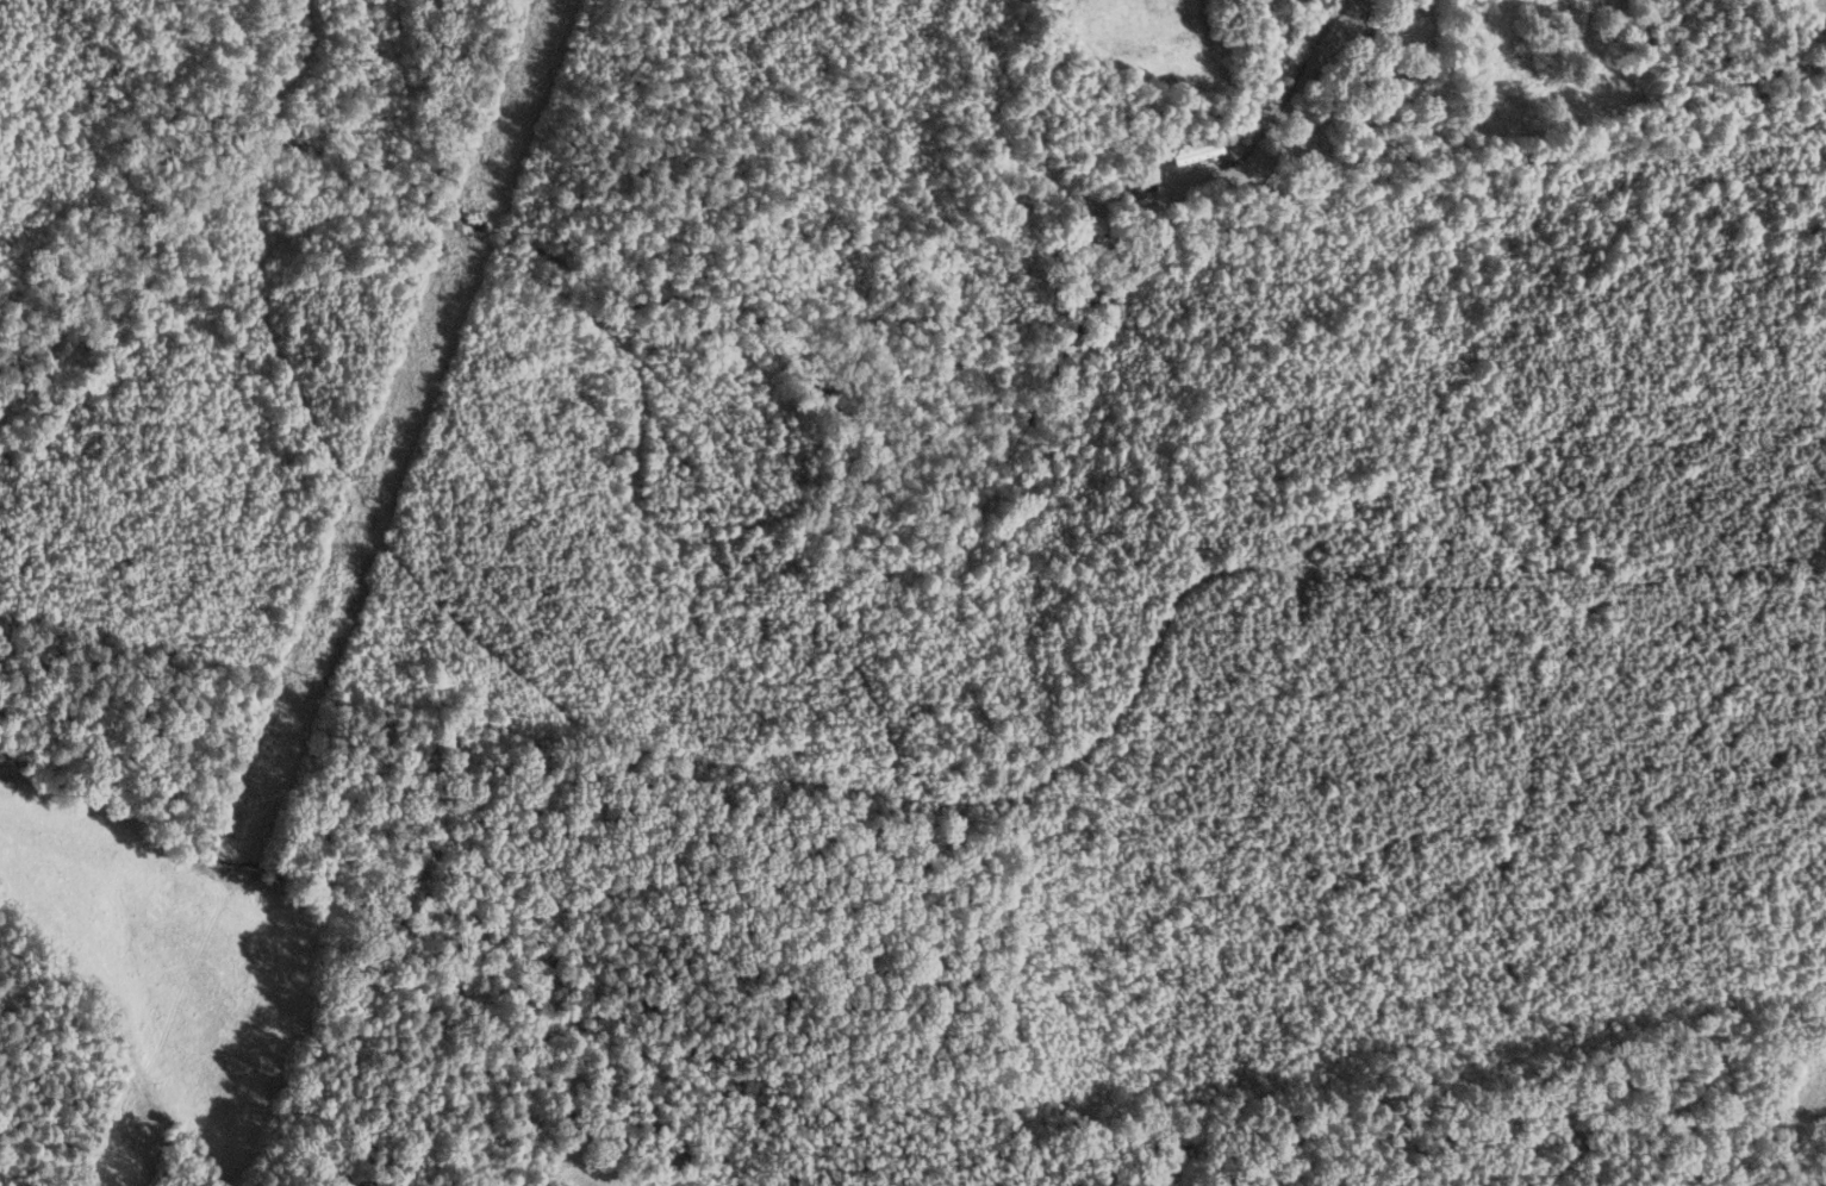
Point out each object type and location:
road: (1294, 76)
building: (1198, 151)
building: (1158, 162)

